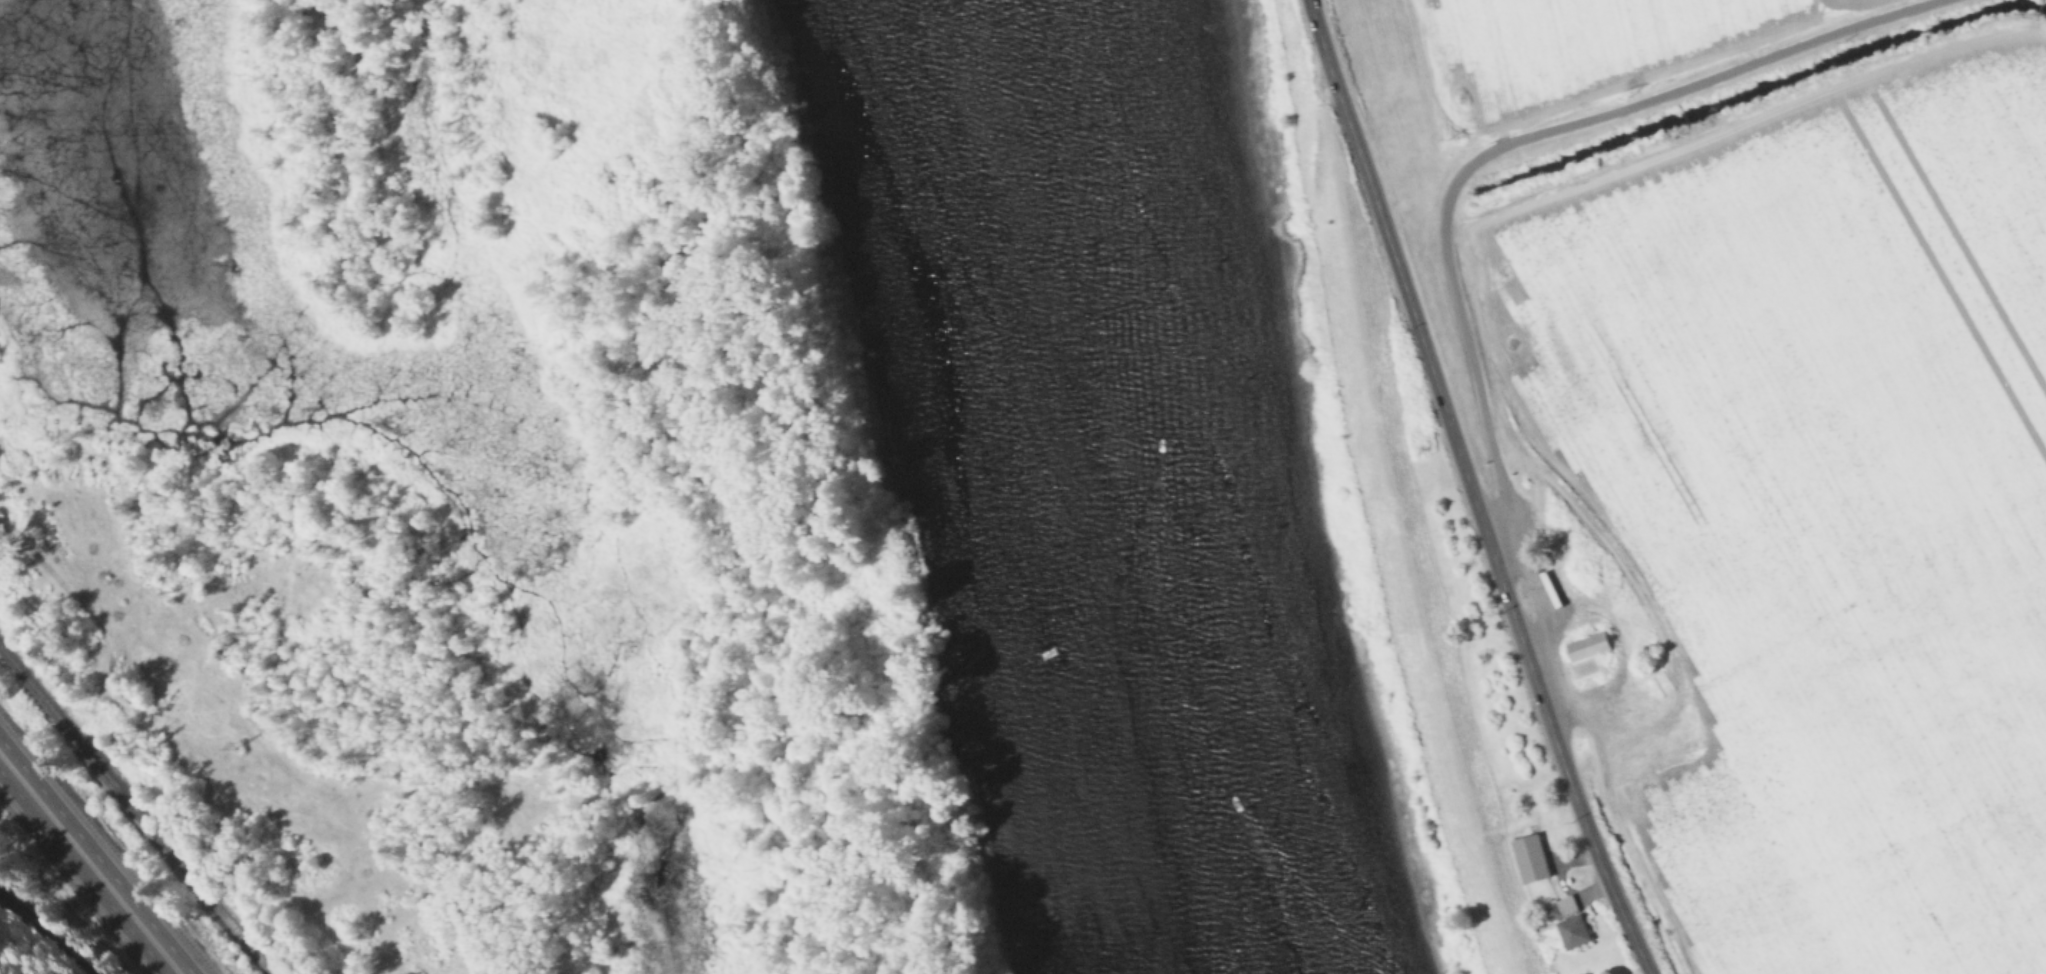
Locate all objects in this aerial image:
road: (1316, 12)
crop: (1577, 46)
road: (1509, 147)
road: (1381, 216)
river: (1177, 489)
crop: (1822, 498)
building: (1557, 546)
road: (30, 549)
building: (1587, 651)
road: (1541, 693)
railway: (137, 807)
building: (1531, 853)
road: (89, 865)
building: (1558, 903)
building: (1572, 927)
railway: (41, 929)

